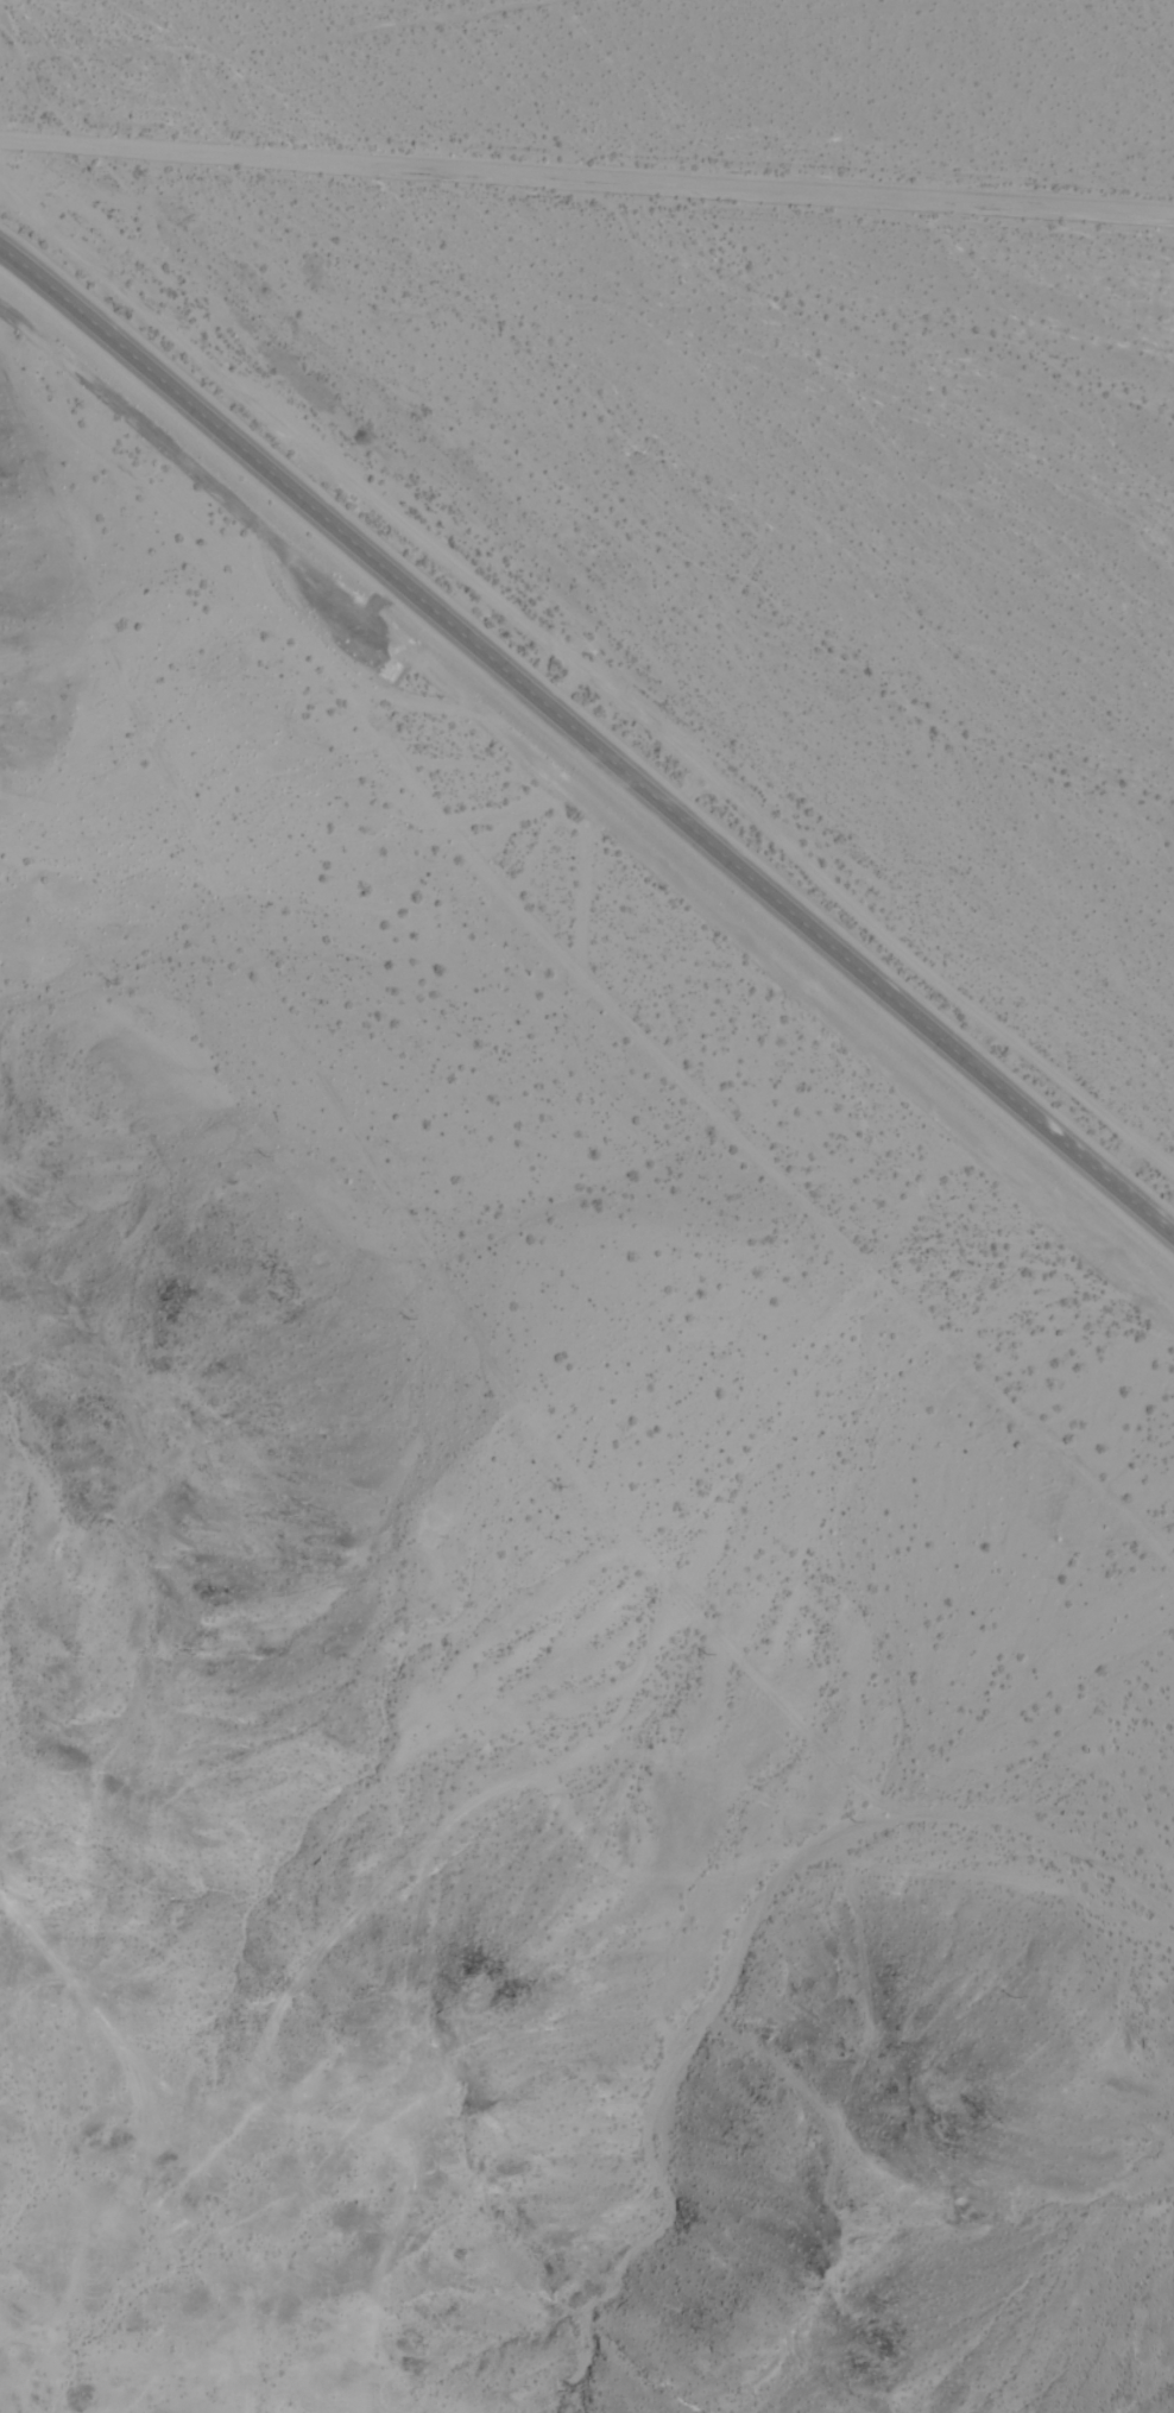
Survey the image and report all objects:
road: (587, 179)
road: (588, 740)

